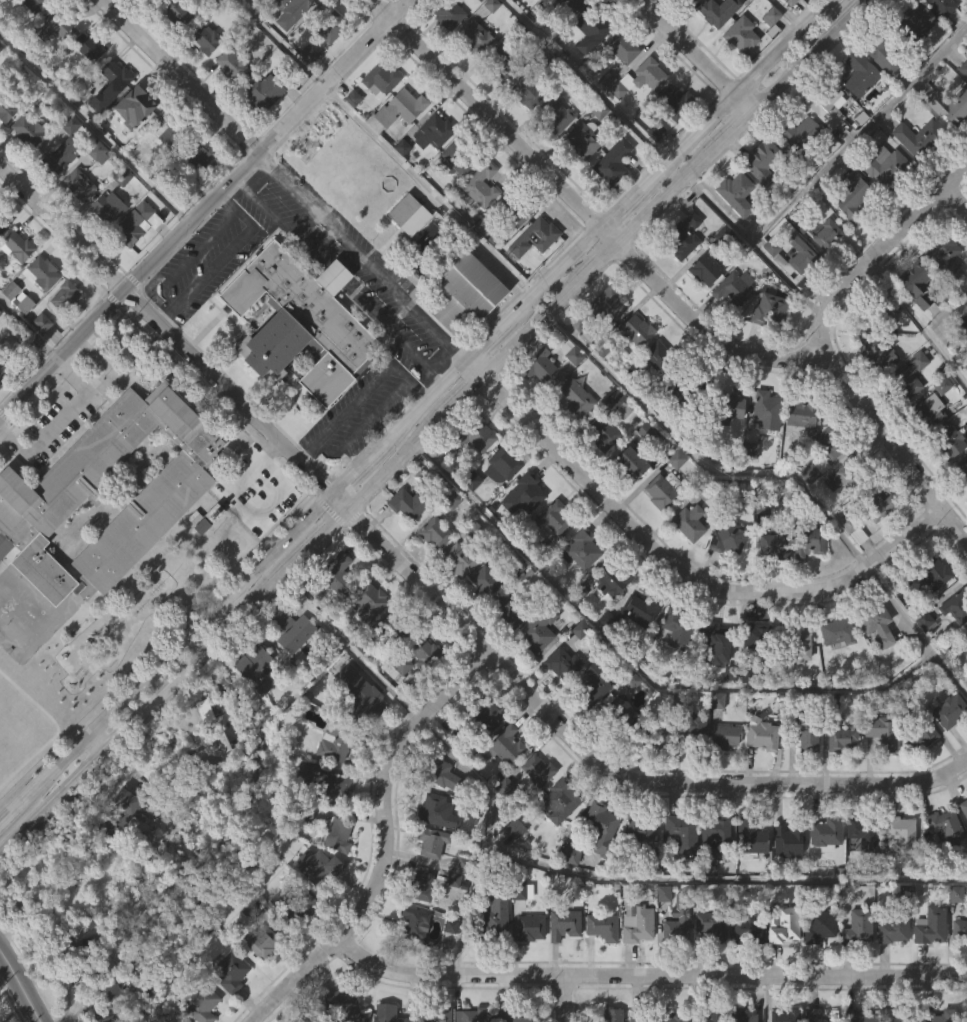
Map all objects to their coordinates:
building: (688, 1)
building: (122, 4)
building: (572, 4)
building: (32, 5)
building: (392, 5)
building: (490, 5)
building: (660, 5)
building: (942, 6)
building: (274, 7)
building: (958, 7)
building: (3, 8)
building: (294, 8)
building: (541, 9)
building: (800, 10)
building: (718, 11)
building: (172, 13)
building: (447, 13)
road: (789, 14)
building: (686, 17)
building: (239, 20)
building: (771, 20)
building: (913, 21)
building: (596, 23)
building: (52, 25)
building: (330, 27)
building: (935, 29)
building: (29, 34)
building: (741, 34)
building: (786, 34)
building: (294, 36)
building: (564, 36)
building: (478, 38)
building: (204, 39)
road: (280, 43)
building: (89, 46)
building: (620, 47)
building: (715, 48)
building: (884, 48)
building: (176, 51)
building: (445, 51)
building: (309, 53)
building: (767, 53)
road: (693, 55)
building: (231, 61)
building: (911, 61)
building: (594, 62)
building: (53, 63)
building: (503, 64)
building: (329, 65)
building: (963, 67)
building: (737, 73)
building: (860, 73)
building: (472, 75)
road: (181, 76)
building: (203, 76)
building: (606, 77)
building: (642, 77)
building: (114, 79)
building: (380, 79)
road: (589, 81)
building: (86, 85)
building: (619, 85)
building: (266, 90)
building: (306, 91)
building: (528, 91)
building: (881, 92)
building: (356, 97)
building: (500, 100)
building: (228, 102)
building: (676, 102)
building: (825, 103)
building: (950, 106)
building: (399, 108)
building: (5, 110)
building: (856, 112)
building: (557, 114)
building: (637, 116)
building: (378, 117)
building: (604, 117)
building: (108, 122)
building: (262, 128)
building: (167, 130)
building: (435, 130)
building: (524, 130)
building: (26, 131)
road: (93, 131)
building: (657, 131)
building: (350, 136)
building: (800, 136)
building: (919, 137)
building: (671, 138)
building: (585, 140)
building: (132, 143)
building: (825, 143)
building: (949, 144)
building: (404, 145)
building: (5, 148)
building: (97, 152)
building: (553, 155)
building: (62, 156)
building: (458, 158)
building: (763, 158)
building: (195, 159)
road: (829, 160)
building: (612, 163)
building: (887, 167)
building: (25, 168)
building: (429, 169)
building: (653, 169)
building: (795, 170)
building: (165, 172)
building: (916, 175)
building: (580, 178)
building: (77, 184)
building: (399, 185)
building: (479, 186)
road: (431, 190)
building: (96, 191)
building: (61, 192)
building: (736, 193)
building: (455, 195)
building: (851, 196)
building: (196, 197)
building: (760, 199)
road: (955, 199)
building: (610, 200)
building: (883, 204)
building: (106, 208)
road: (204, 208)
building: (516, 209)
building: (408, 214)
building: (4, 221)
building: (77, 222)
road: (283, 223)
building: (478, 223)
building: (136, 224)
building: (735, 231)
building: (829, 235)
building: (683, 236)
building: (848, 236)
building: (531, 239)
building: (17, 245)
building: (105, 245)
road: (585, 251)
road: (876, 251)
road: (601, 254)
building: (805, 255)
building: (944, 256)
road: (221, 257)
road: (319, 257)
road: (362, 257)
building: (411, 259)
building: (134, 261)
building: (2, 262)
building: (708, 267)
building: (824, 272)
building: (39, 273)
building: (680, 273)
road: (336, 274)
road: (782, 274)
building: (531, 275)
building: (916, 281)
building: (15, 284)
building: (768, 284)
building: (736, 287)
building: (797, 291)
road: (664, 294)
building: (461, 295)
building: (941, 295)
building: (63, 296)
building: (605, 305)
building: (702, 307)
building: (769, 309)
building: (879, 310)
building: (39, 311)
road: (918, 320)
building: (914, 321)
building: (298, 324)
building: (731, 326)
building: (960, 326)
building: (8, 328)
road: (167, 329)
building: (461, 331)
building: (635, 331)
road: (28, 332)
road: (395, 333)
building: (58, 338)
building: (20, 340)
building: (605, 341)
building: (766, 348)
building: (571, 351)
building: (881, 352)
building: (660, 356)
building: (39, 360)
building: (961, 360)
building: (540, 364)
building: (635, 367)
building: (4, 371)
building: (908, 376)
building: (688, 386)
building: (876, 393)
road: (361, 394)
building: (655, 394)
building: (575, 399)
building: (538, 403)
building: (617, 403)
building: (726, 404)
building: (768, 406)
building: (3, 408)
building: (802, 410)
building: (906, 413)
road: (59, 419)
building: (605, 432)
building: (675, 432)
building: (472, 434)
building: (573, 437)
building: (834, 439)
building: (949, 440)
building: (730, 442)
building: (762, 442)
building: (926, 448)
building: (798, 450)
building: (750, 453)
building: (630, 462)
road: (698, 462)
building: (503, 466)
building: (814, 469)
building: (961, 469)
building: (599, 471)
building: (471, 473)
building: (850, 475)
building: (946, 478)
building: (826, 480)
building: (665, 490)
building: (47, 491)
building: (526, 491)
building: (502, 500)
building: (628, 500)
building: (406, 503)
road: (339, 504)
building: (876, 504)
building: (962, 504)
building: (811, 508)
road: (242, 510)
building: (761, 510)
building: (839, 516)
building: (555, 517)
building: (691, 522)
building: (852, 527)
building: (524, 528)
building: (658, 529)
building: (436, 532)
building: (728, 536)
building: (809, 537)
building: (402, 541)
building: (774, 542)
building: (875, 542)
building: (584, 548)
building: (211, 550)
building: (551, 554)
building: (462, 559)
building: (686, 560)
building: (432, 570)
road: (675, 571)
building: (337, 573)
building: (929, 574)
building: (611, 579)
building: (805, 581)
building: (484, 582)
building: (777, 583)
building: (580, 586)
building: (456, 596)
building: (367, 601)
building: (956, 605)
building: (333, 608)
building: (510, 610)
building: (932, 610)
building: (633, 611)
building: (609, 618)
building: (908, 619)
building: (482, 620)
building: (876, 623)
building: (398, 626)
building: (678, 627)
road: (916, 627)
building: (538, 628)
building: (292, 631)
building: (836, 632)
building: (757, 636)
building: (965, 636)
building: (717, 638)
building: (366, 640)
building: (797, 642)
road: (350, 646)
building: (507, 647)
building: (636, 647)
building: (417, 656)
building: (603, 657)
building: (920, 657)
road: (166, 662)
building: (564, 663)
building: (875, 664)
building: (390, 665)
building: (674, 666)
building: (254, 667)
building: (536, 667)
road: (637, 667)
building: (290, 668)
building: (833, 669)
building: (754, 673)
building: (963, 673)
building: (714, 678)
road: (172, 680)
building: (796, 680)
building: (593, 684)
building: (412, 695)
building: (362, 700)
building: (559, 700)
building: (255, 707)
building: (727, 709)
building: (951, 711)
building: (617, 712)
building: (476, 721)
building: (689, 722)
building: (591, 723)
building: (358, 730)
building: (803, 731)
building: (882, 732)
building: (921, 732)
building: (213, 734)
building: (656, 734)
building: (763, 734)
building: (725, 736)
building: (842, 738)
building: (339, 741)
building: (506, 744)
building: (615, 747)
building: (947, 748)
building: (484, 753)
building: (689, 762)
road: (608, 767)
building: (802, 769)
building: (878, 769)
building: (537, 770)
building: (759, 770)
building: (655, 772)
building: (439, 773)
building: (917, 773)
building: (211, 774)
building: (722, 774)
building: (838, 776)
building: (504, 782)
building: (330, 791)
building: (562, 798)
building: (535, 807)
building: (963, 807)
building: (432, 808)
building: (120, 816)
building: (599, 825)
building: (945, 826)
building: (637, 829)
building: (863, 832)
building: (826, 833)
building: (899, 834)
building: (337, 835)
building: (752, 836)
building: (558, 838)
building: (787, 840)
building: (431, 841)
road: (385, 842)
building: (714, 842)
building: (130, 843)
building: (962, 846)
building: (568, 854)
building: (941, 863)
building: (597, 864)
building: (316, 865)
building: (512, 865)
building: (636, 866)
building: (860, 869)
building: (679, 870)
building: (896, 870)
building: (823, 871)
building: (335, 873)
building: (710, 874)
building: (748, 874)
building: (39, 877)
building: (784, 878)
road: (648, 879)
building: (423, 887)
building: (521, 891)
building: (567, 891)
building: (295, 896)
building: (314, 903)
road: (467, 905)
building: (493, 917)
building: (678, 920)
building: (414, 922)
building: (637, 923)
building: (563, 924)
building: (785, 924)
building: (820, 925)
building: (531, 926)
building: (602, 926)
building: (713, 926)
building: (857, 926)
building: (894, 926)
building: (930, 926)
building: (748, 929)
building: (959, 929)
building: (660, 930)
building: (261, 942)
building: (294, 950)
building: (492, 954)
building: (411, 959)
building: (84, 960)
building: (634, 960)
building: (561, 962)
building: (674, 962)
building: (710, 963)
building: (782, 963)
building: (813, 963)
building: (857, 963)
building: (599, 964)
building: (928, 964)
building: (527, 965)
building: (957, 965)
building: (744, 967)
building: (889, 968)
road: (3, 971)
building: (230, 971)
road: (646, 975)
building: (261, 979)
road: (19, 989)
road: (564, 998)
road: (640, 998)
building: (200, 1004)
building: (108, 1005)
building: (228, 1006)
building: (340, 1006)
building: (389, 1013)
building: (438, 1014)
building: (473, 1015)
building: (510, 1015)
building: (612, 1015)
building: (741, 1015)
building: (785, 1015)
building: (813, 1015)
building: (666, 1016)
building: (714, 1016)
building: (858, 1016)
building: (898, 1016)
building: (942, 1016)
building: (965, 1016)
building: (307, 1018)

